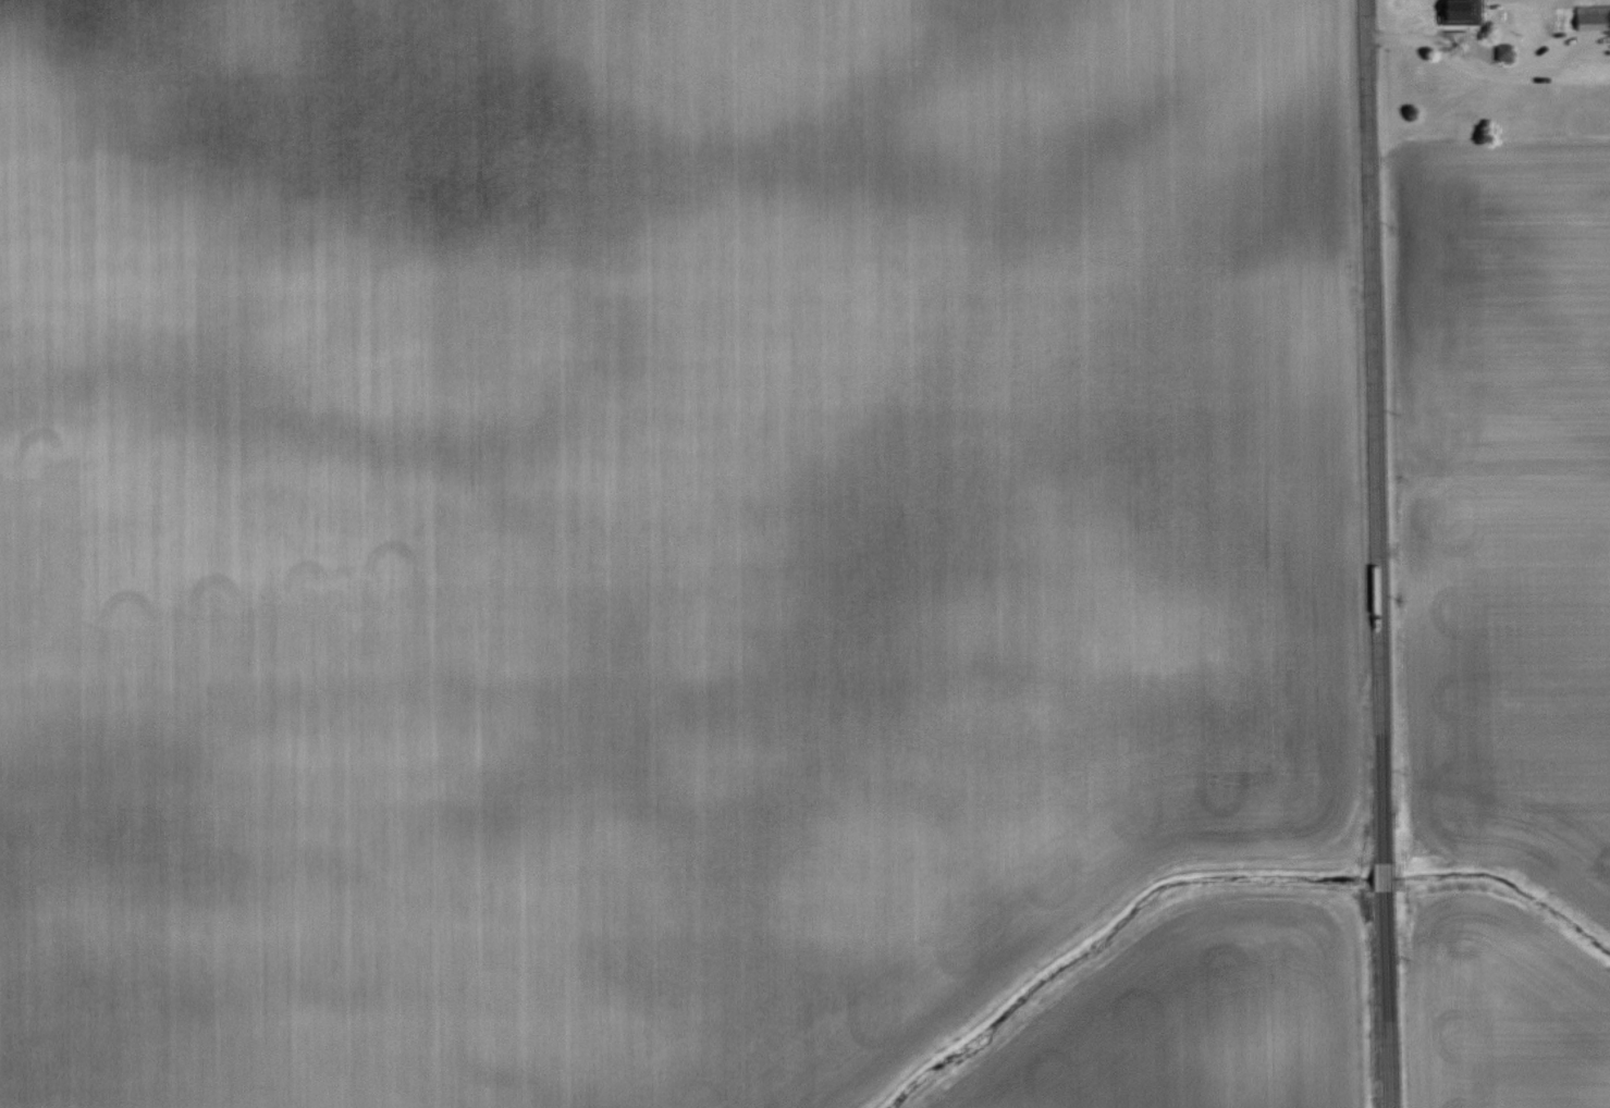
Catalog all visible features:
building: (1593, 19)
road: (1360, 554)
road: (1180, 703)

